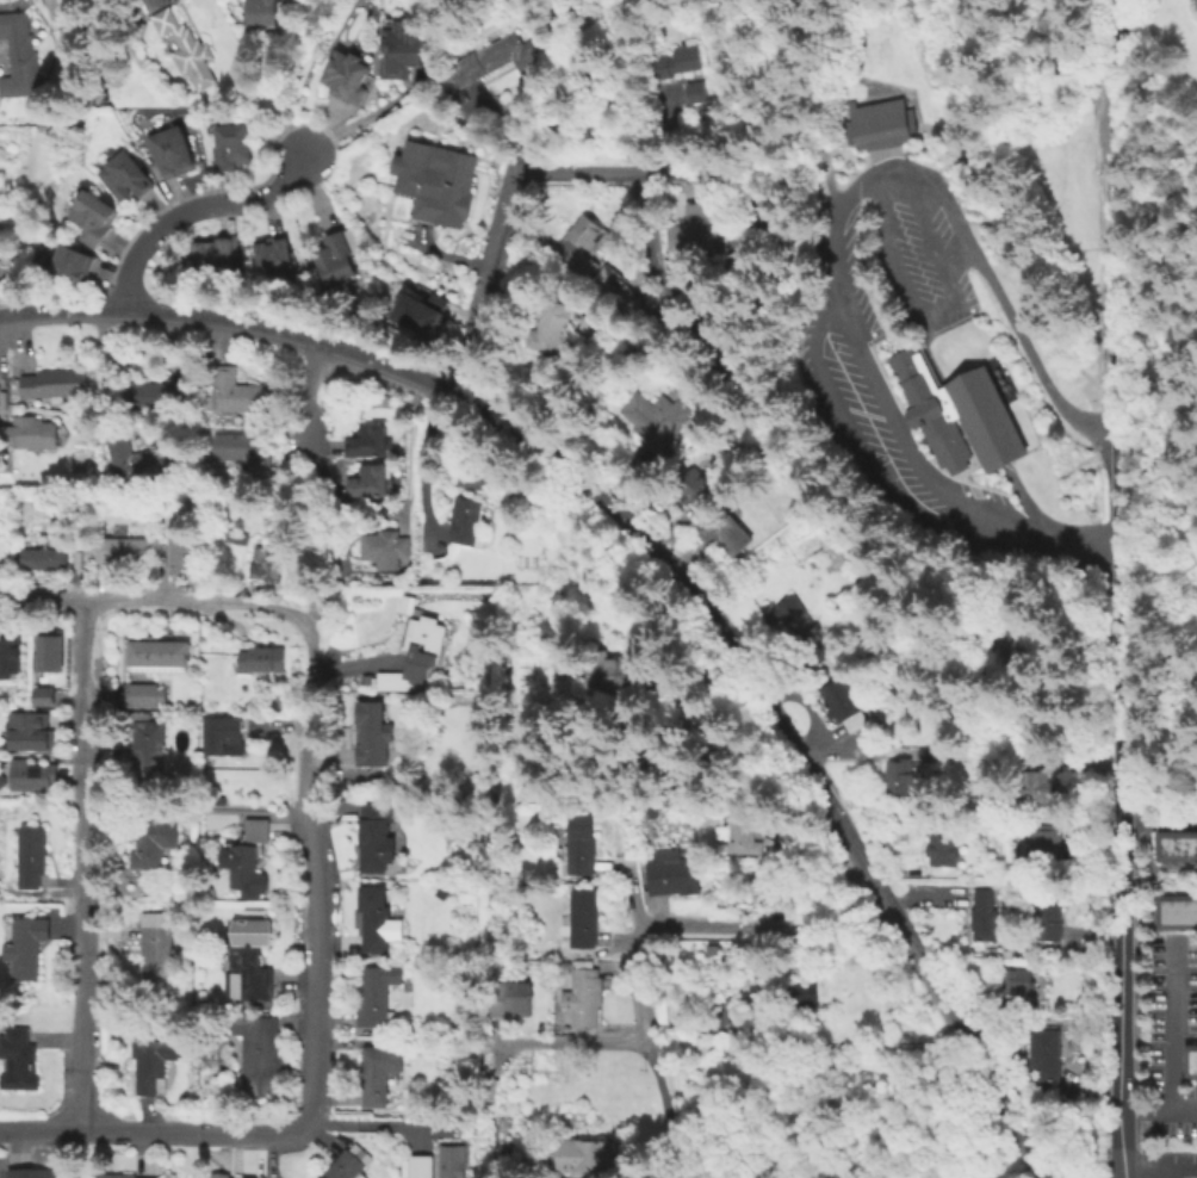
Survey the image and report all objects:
building: (262, 12)
building: (401, 45)
building: (185, 48)
building: (21, 56)
building: (491, 60)
building: (681, 61)
building: (343, 73)
road: (837, 77)
building: (700, 91)
road: (1115, 111)
building: (879, 124)
road: (501, 130)
building: (232, 143)
building: (172, 148)
road: (908, 153)
building: (126, 172)
road: (644, 173)
building: (432, 182)
road: (832, 188)
road: (196, 211)
building: (94, 213)
road: (771, 219)
road: (1170, 221)
road: (640, 227)
road: (653, 227)
building: (695, 229)
road: (541, 231)
building: (591, 243)
building: (739, 248)
building: (212, 252)
building: (272, 253)
road: (451, 254)
road: (833, 254)
building: (333, 256)
building: (73, 259)
road: (987, 274)
road: (491, 283)
building: (616, 289)
building: (421, 312)
road: (941, 317)
road: (235, 320)
building: (554, 327)
road: (1115, 327)
building: (707, 330)
building: (54, 383)
building: (237, 391)
building: (155, 395)
road: (306, 404)
building: (961, 415)
park: (1167, 416)
building: (660, 420)
road: (898, 427)
building: (27, 433)
building: (368, 440)
road: (409, 451)
building: (243, 452)
road: (858, 452)
building: (139, 461)
road: (424, 464)
building: (370, 480)
building: (699, 488)
building: (526, 497)
building: (467, 520)
building: (728, 532)
building: (236, 537)
road: (1048, 539)
road: (314, 547)
building: (383, 547)
building: (124, 548)
building: (182, 550)
building: (44, 558)
building: (266, 563)
road: (154, 600)
building: (408, 603)
building: (802, 628)
building: (10, 649)
building: (50, 651)
building: (155, 652)
building: (418, 655)
building: (1010, 657)
building: (261, 658)
building: (612, 671)
building: (148, 694)
building: (46, 696)
building: (278, 701)
building: (848, 707)
building: (27, 732)
building: (373, 733)
building: (223, 734)
road: (794, 749)
building: (147, 751)
building: (925, 752)
building: (900, 774)
building: (33, 775)
building: (1041, 789)
building: (221, 800)
road: (1116, 805)
road: (1156, 824)
building: (743, 835)
building: (377, 836)
building: (155, 841)
building: (581, 843)
building: (1044, 848)
building: (943, 849)
building: (1173, 851)
building: (32, 856)
building: (247, 862)
road: (83, 864)
building: (669, 872)
road: (316, 875)
building: (771, 887)
road: (631, 894)
building: (1049, 912)
building: (1174, 912)
building: (980, 914)
building: (376, 917)
building: (584, 918)
road: (765, 925)
building: (26, 947)
building: (157, 950)
building: (253, 957)
building: (564, 968)
building: (1019, 985)
building: (374, 993)
building: (801, 993)
building: (584, 994)
building: (511, 998)
building: (730, 1022)
road: (1168, 1024)
road: (645, 1029)
road: (570, 1043)
road: (804, 1043)
building: (259, 1053)
building: (1044, 1054)
building: (18, 1061)
building: (153, 1062)
building: (1187, 1064)
building: (376, 1075)
building: (489, 1087)
road: (1156, 1109)
road: (370, 1124)
road: (153, 1134)
building: (587, 1154)
road: (269, 1157)
building: (452, 1161)
building: (349, 1165)
building: (421, 1167)
road: (1012, 1170)
road: (1141, 1172)
building: (32, 1174)
building: (117, 1176)
building: (224, 1176)

